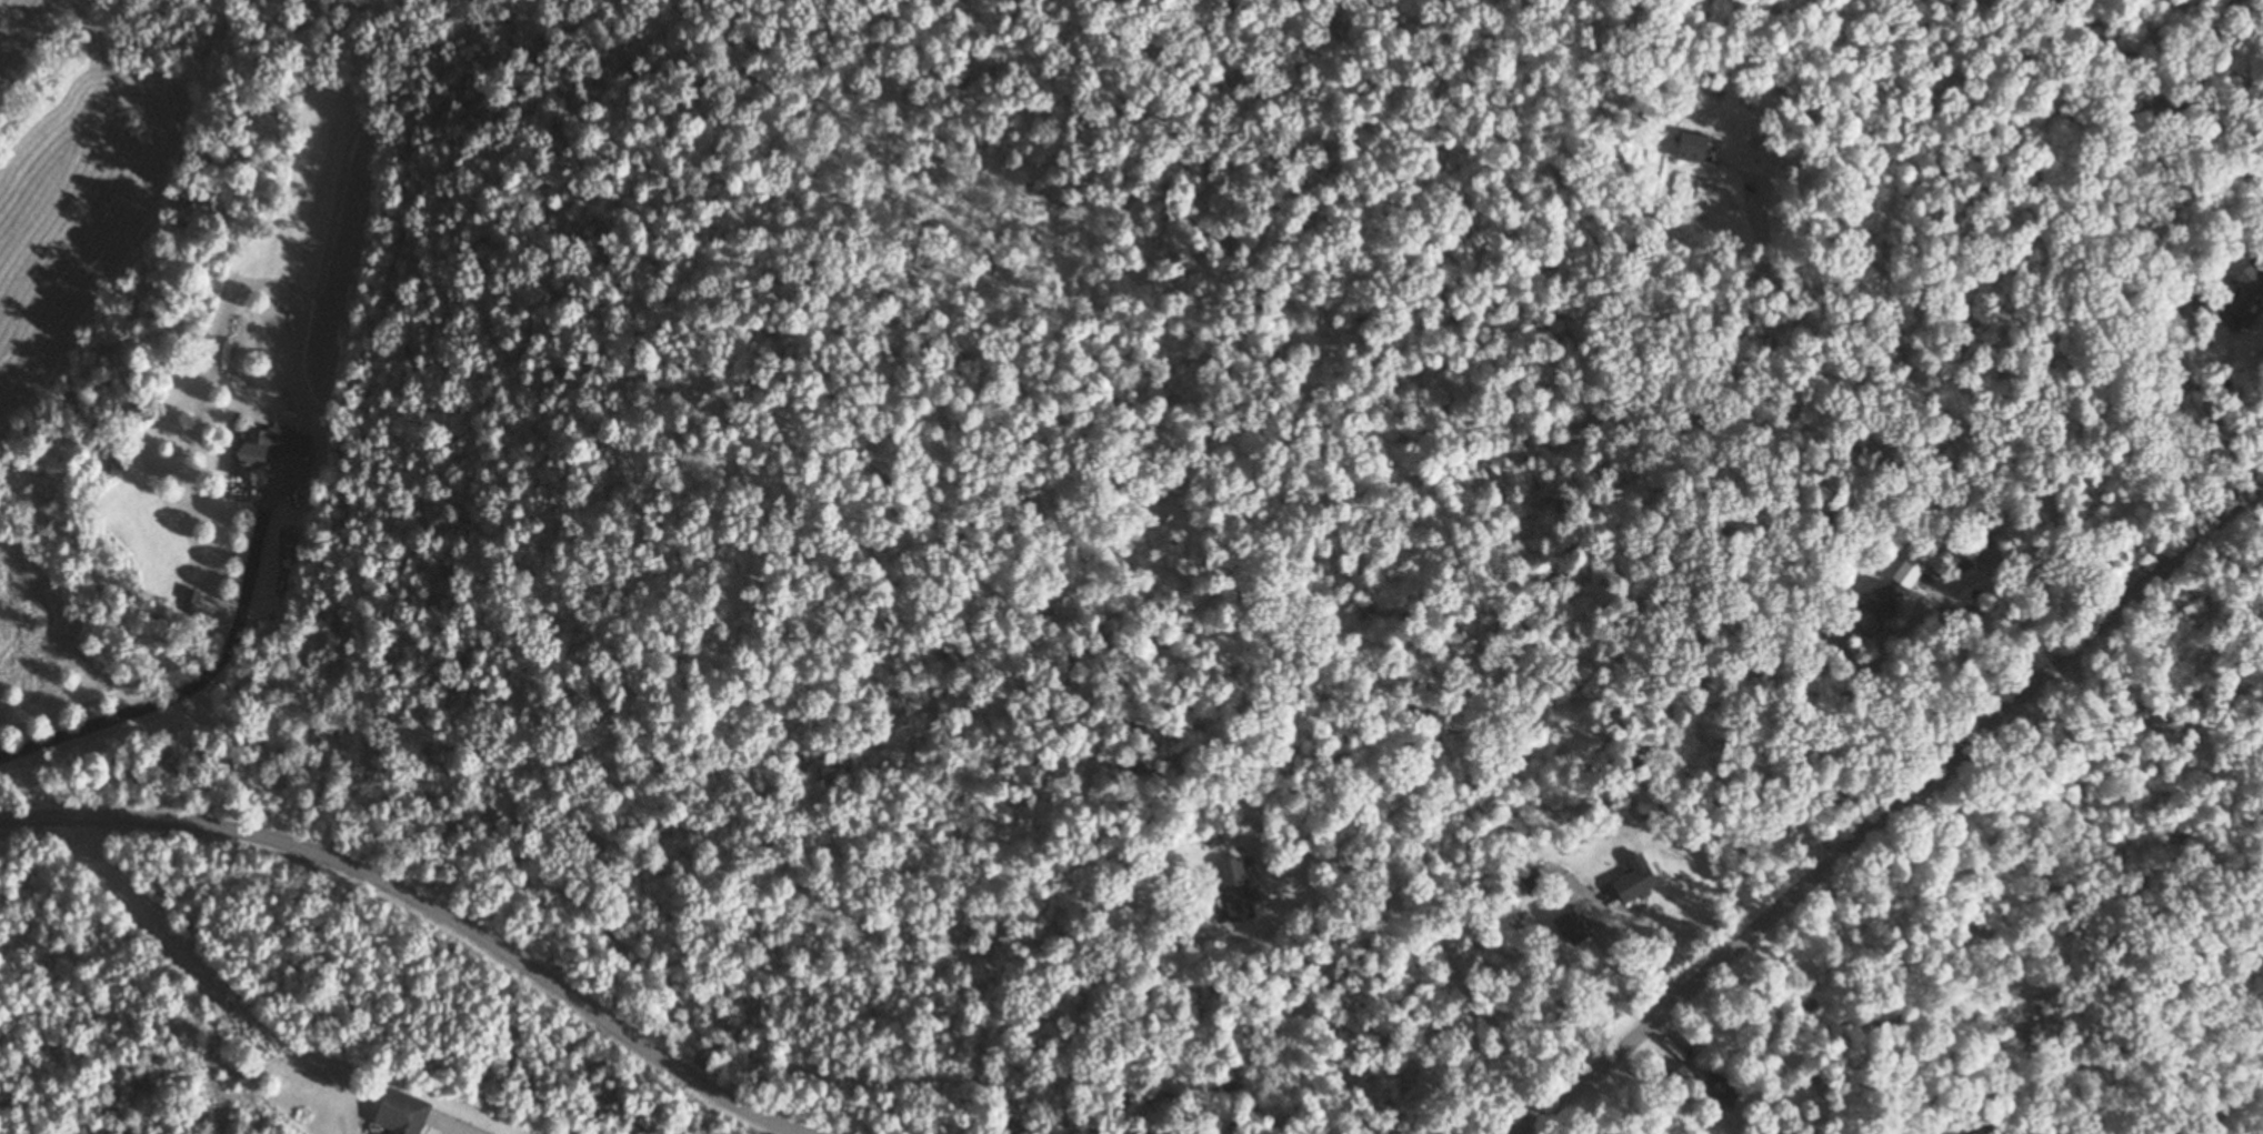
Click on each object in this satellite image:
building: (1684, 145)
road: (2249, 258)
building: (2244, 297)
road: (1954, 405)
building: (253, 450)
building: (1993, 550)
road: (1997, 566)
building: (1904, 573)
building: (1878, 602)
road: (194, 691)
road: (1892, 804)
building: (1526, 877)
building: (1629, 885)
building: (1229, 890)
road: (422, 904)
building: (1568, 926)
road: (1606, 936)
road: (1435, 942)
building: (1665, 1076)
building: (1715, 1087)
building: (388, 1113)

